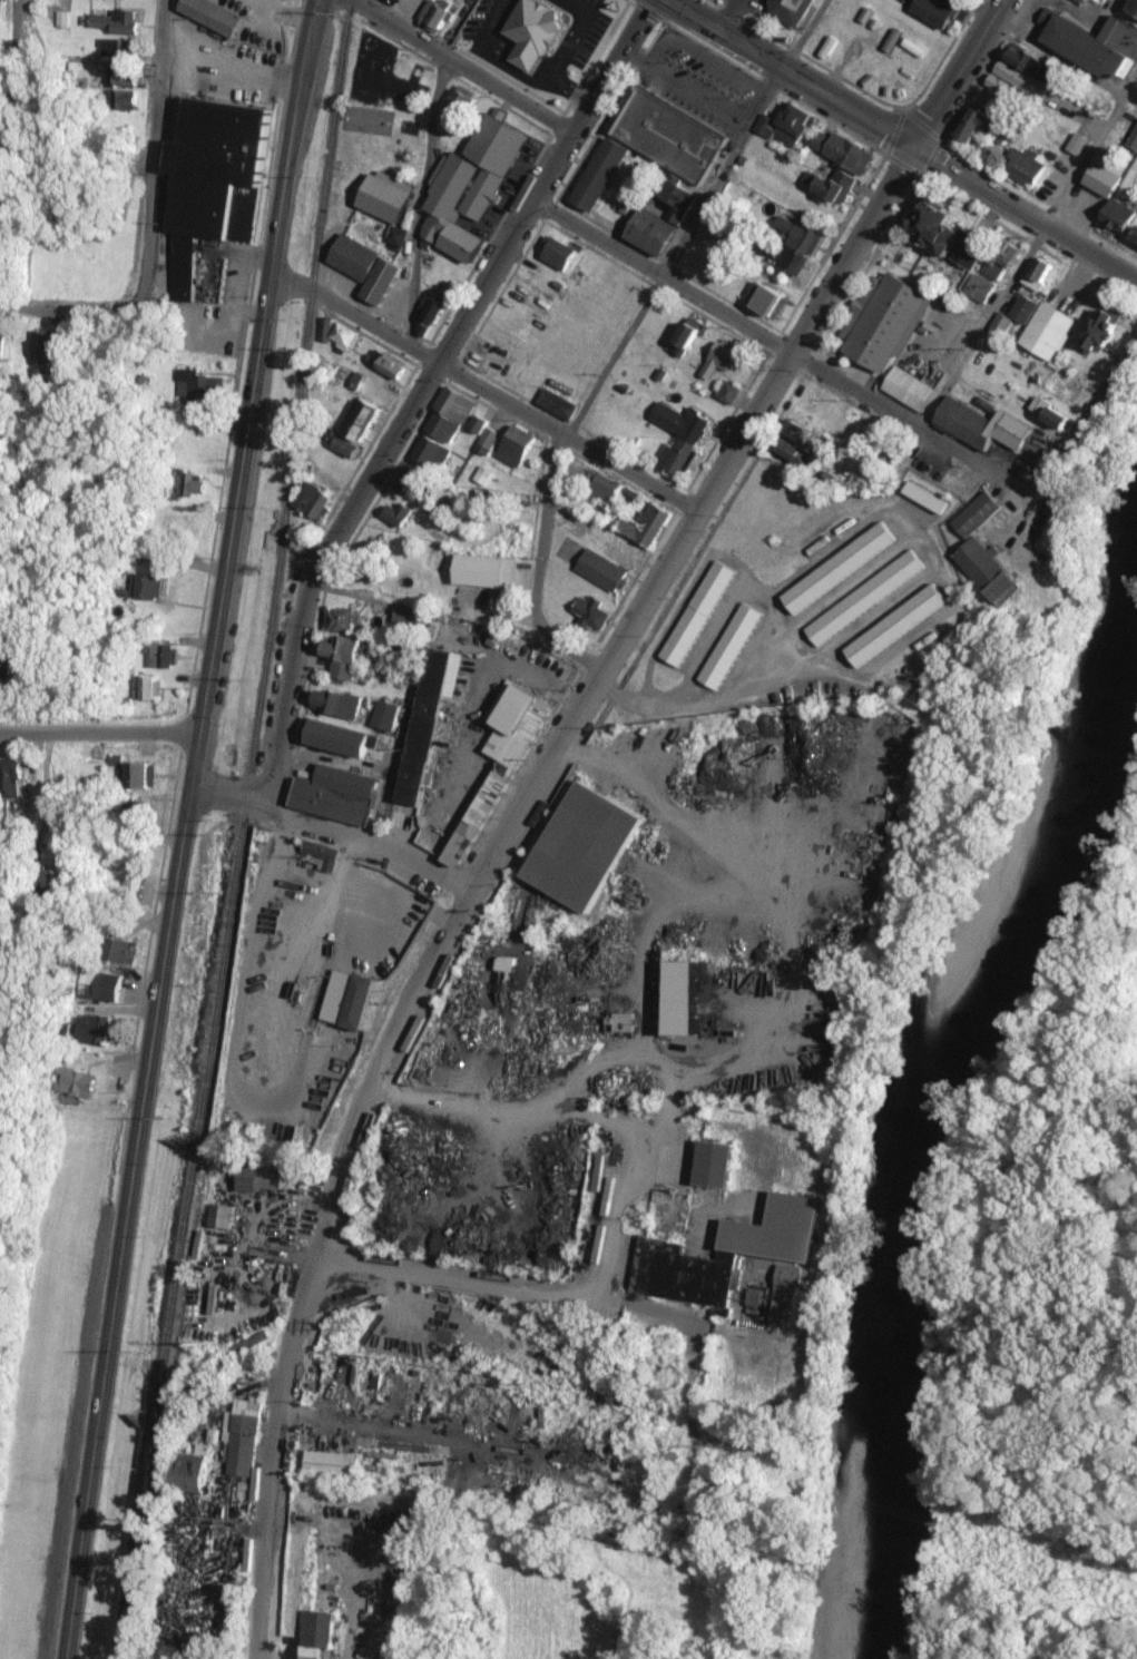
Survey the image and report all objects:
building: (794, 7)
building: (1134, 8)
building: (934, 12)
building: (212, 16)
building: (433, 17)
building: (61, 19)
building: (117, 22)
building: (533, 33)
building: (1094, 46)
building: (118, 48)
road: (1053, 48)
road: (616, 66)
road: (463, 67)
road: (792, 71)
road: (959, 72)
building: (118, 78)
building: (1019, 80)
building: (120, 100)
building: (457, 104)
building: (978, 126)
building: (788, 127)
building: (674, 130)
building: (1134, 140)
building: (1077, 145)
road: (9, 147)
road: (155, 149)
building: (842, 153)
road: (425, 167)
road: (553, 168)
building: (1027, 168)
building: (599, 174)
building: (1102, 180)
building: (213, 181)
building: (471, 186)
building: (831, 188)
building: (385, 196)
building: (677, 199)
road: (1026, 209)
building: (1119, 217)
road: (698, 218)
building: (935, 226)
building: (651, 230)
building: (396, 235)
building: (1135, 238)
building: (795, 245)
building: (970, 249)
building: (557, 253)
road: (1032, 254)
building: (354, 256)
building: (1003, 258)
building: (1039, 273)
building: (381, 281)
road: (484, 283)
building: (979, 288)
building: (768, 298)
building: (1025, 308)
road: (72, 313)
road: (354, 313)
building: (431, 314)
building: (885, 320)
road: (804, 326)
building: (1047, 331)
building: (1101, 331)
road: (762, 335)
building: (344, 336)
building: (684, 338)
building: (42, 346)
building: (1, 350)
building: (721, 359)
building: (391, 366)
building: (197, 384)
building: (909, 389)
building: (727, 392)
building: (557, 403)
building: (454, 404)
building: (360, 419)
building: (682, 421)
building: (478, 423)
building: (982, 424)
building: (442, 426)
building: (801, 431)
road: (1081, 432)
road: (568, 435)
building: (487, 441)
building: (516, 445)
building: (345, 446)
building: (791, 451)
building: (431, 452)
building: (676, 455)
building: (482, 475)
building: (413, 482)
building: (189, 485)
building: (605, 488)
building: (924, 497)
building: (313, 500)
building: (398, 513)
building: (978, 514)
building: (647, 524)
road: (314, 568)
building: (839, 568)
road: (536, 569)
building: (601, 570)
building: (484, 571)
building: (989, 571)
building: (146, 587)
building: (864, 598)
building: (590, 611)
building: (698, 613)
building: (408, 615)
building: (343, 620)
building: (895, 625)
building: (731, 646)
building: (161, 655)
building: (343, 656)
building: (6, 664)
road: (793, 671)
building: (146, 688)
building: (336, 703)
building: (384, 715)
building: (428, 718)
road: (100, 729)
building: (339, 737)
building: (501, 759)
building: (141, 775)
building: (10, 777)
building: (335, 793)
road: (228, 795)
road: (185, 828)
railway: (239, 829)
road: (674, 837)
road: (375, 841)
building: (585, 846)
building: (322, 854)
building: (119, 951)
building: (107, 986)
building: (682, 998)
building: (349, 999)
building: (623, 1022)
building: (94, 1029)
road: (384, 1052)
road: (673, 1077)
building: (79, 1084)
road: (517, 1090)
river: (930, 1101)
building: (715, 1165)
building: (258, 1178)
building: (220, 1216)
building: (727, 1254)
road: (607, 1259)
building: (787, 1278)
road: (513, 1285)
building: (781, 1307)
building: (242, 1437)
building: (331, 1464)
building: (190, 1471)
building: (313, 1637)

